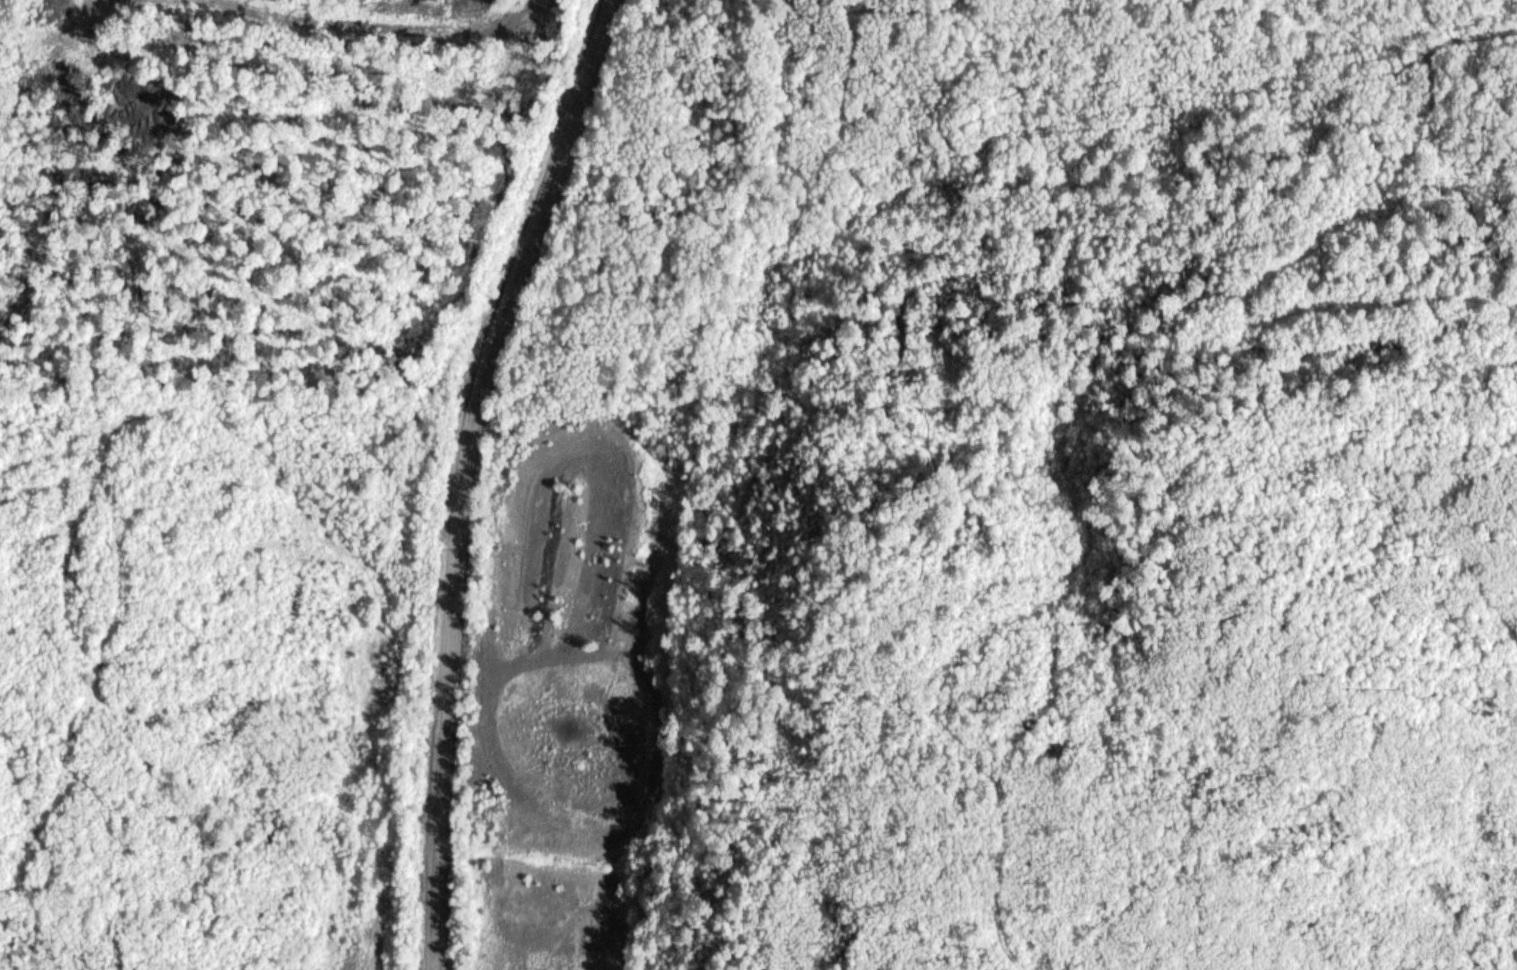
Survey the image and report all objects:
road: (466, 473)

